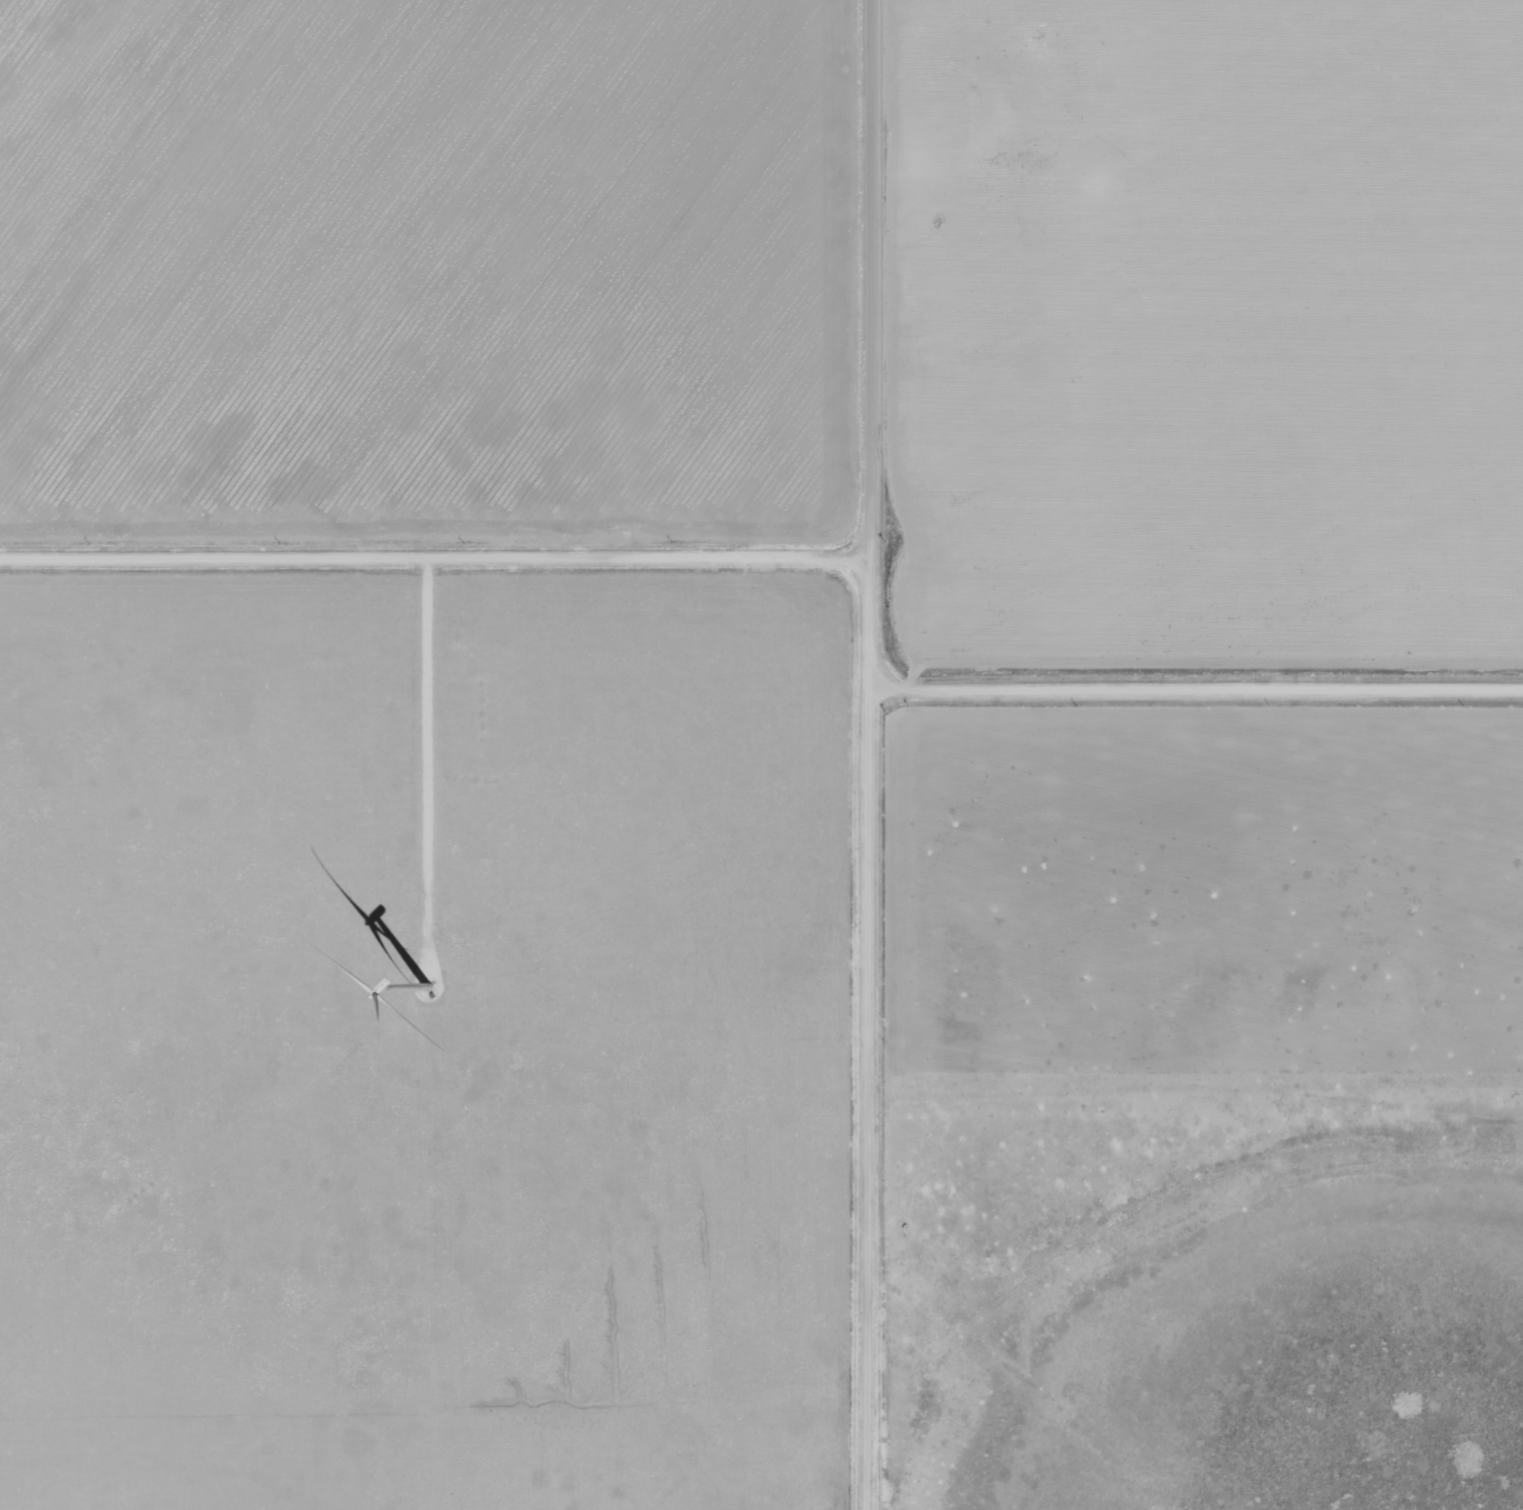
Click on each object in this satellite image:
road: (859, 90)
road: (429, 558)
road: (1200, 691)
road: (877, 844)
wind turbine: (423, 989)

